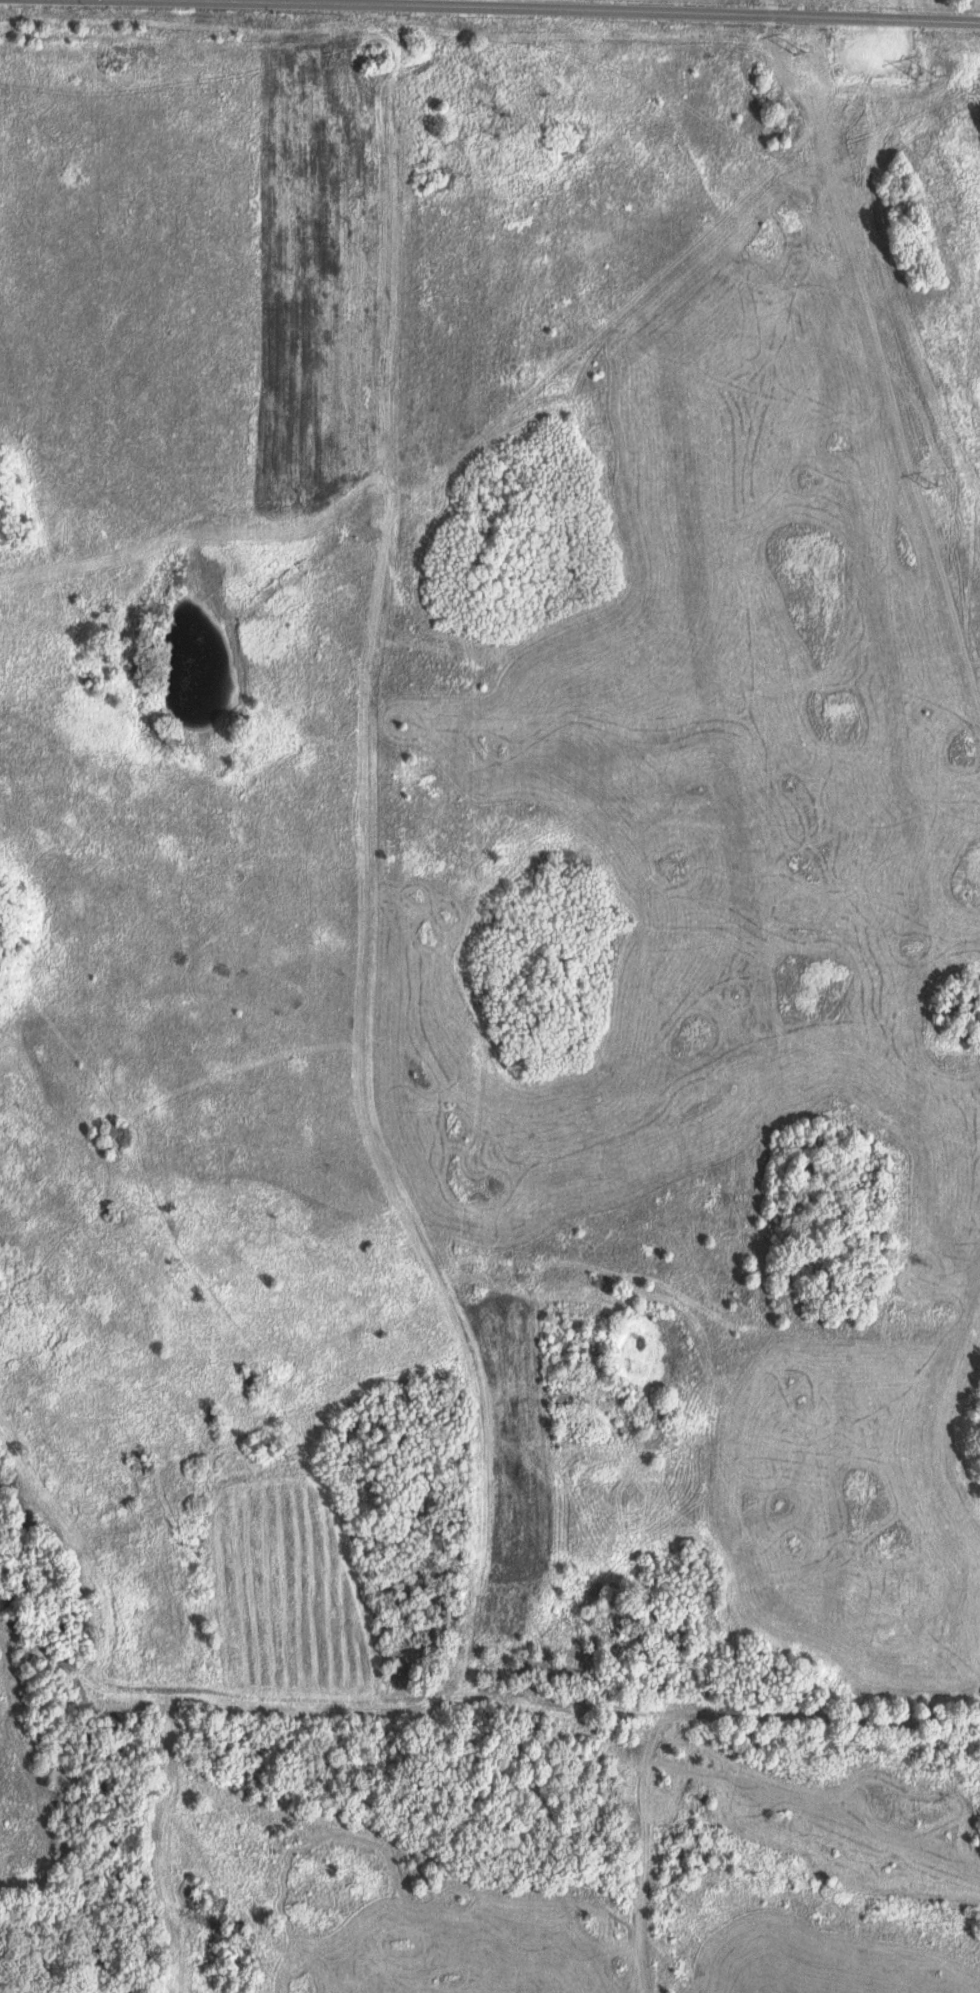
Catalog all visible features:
road: (490, 16)
power tower: (799, 55)
power tower: (930, 79)
power tower: (929, 485)

